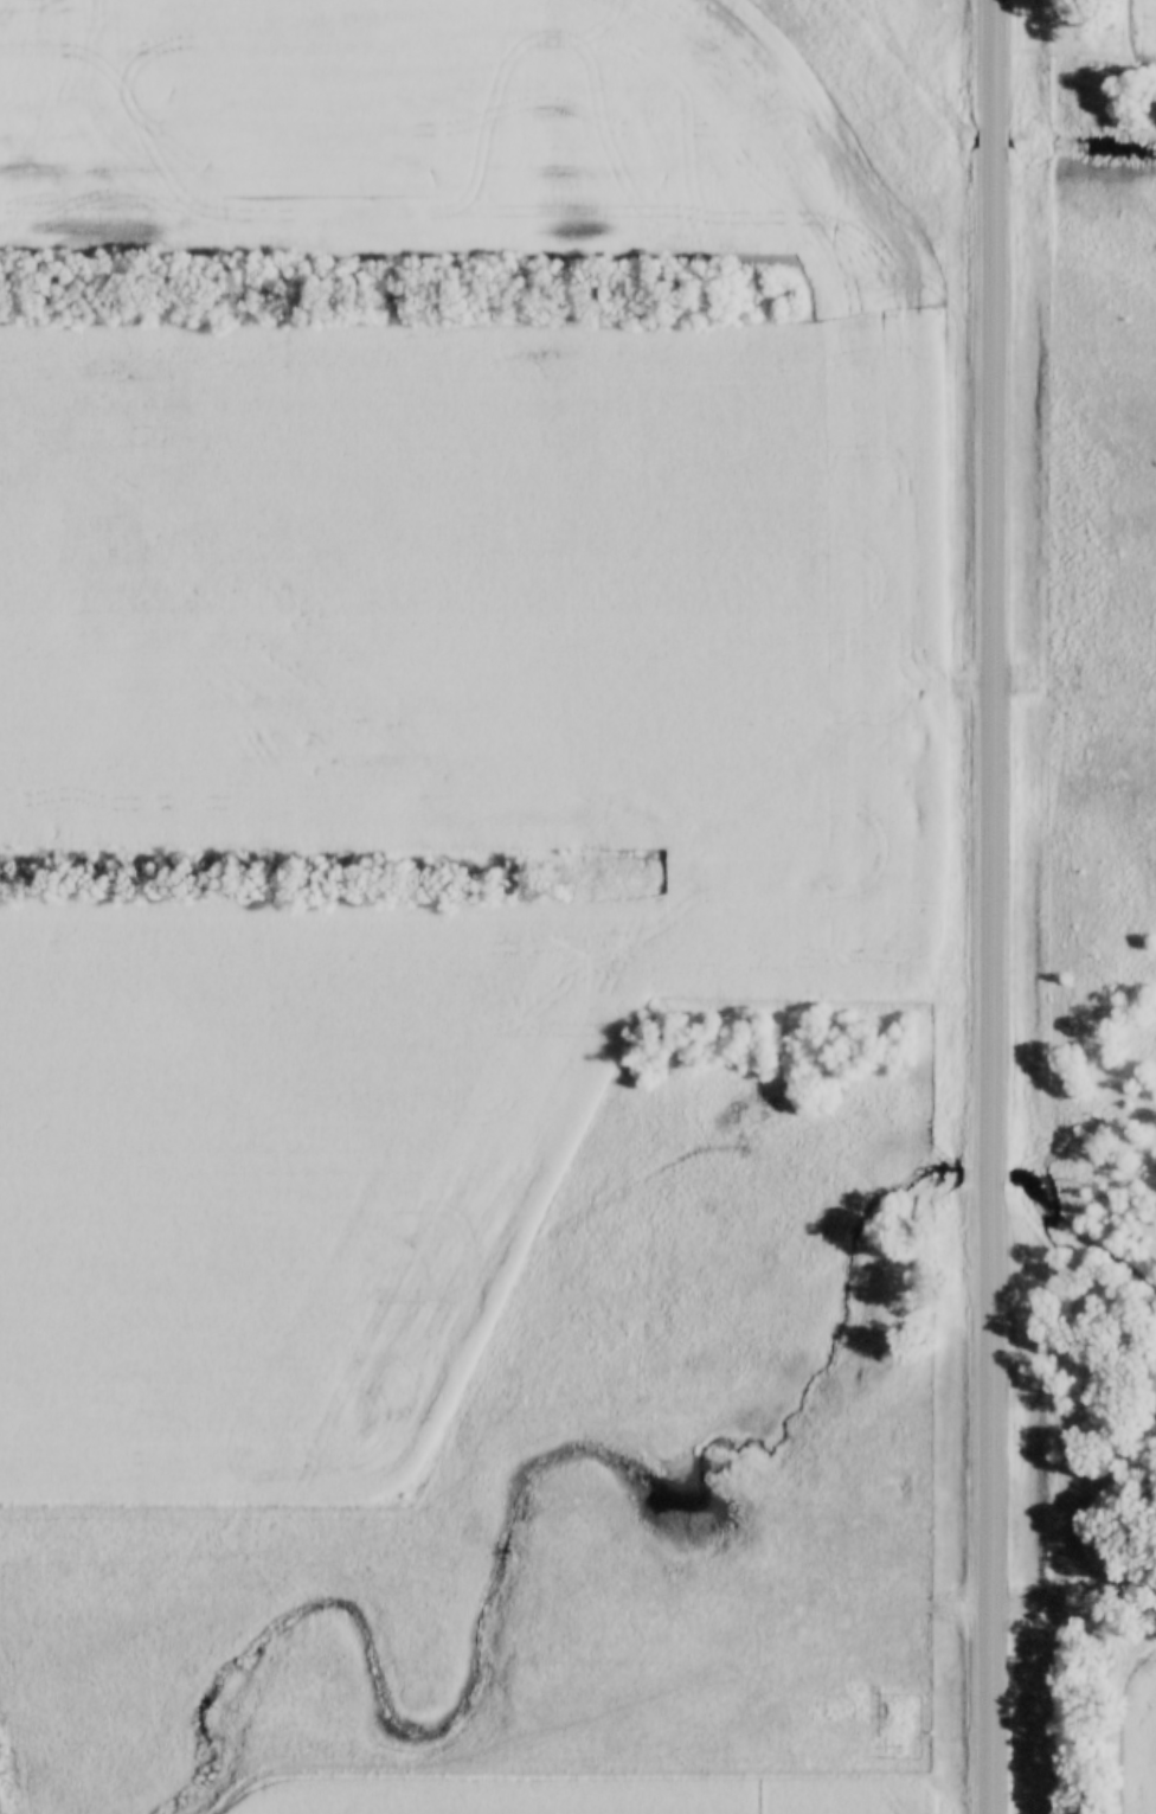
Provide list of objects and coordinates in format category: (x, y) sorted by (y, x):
road: (983, 906)

